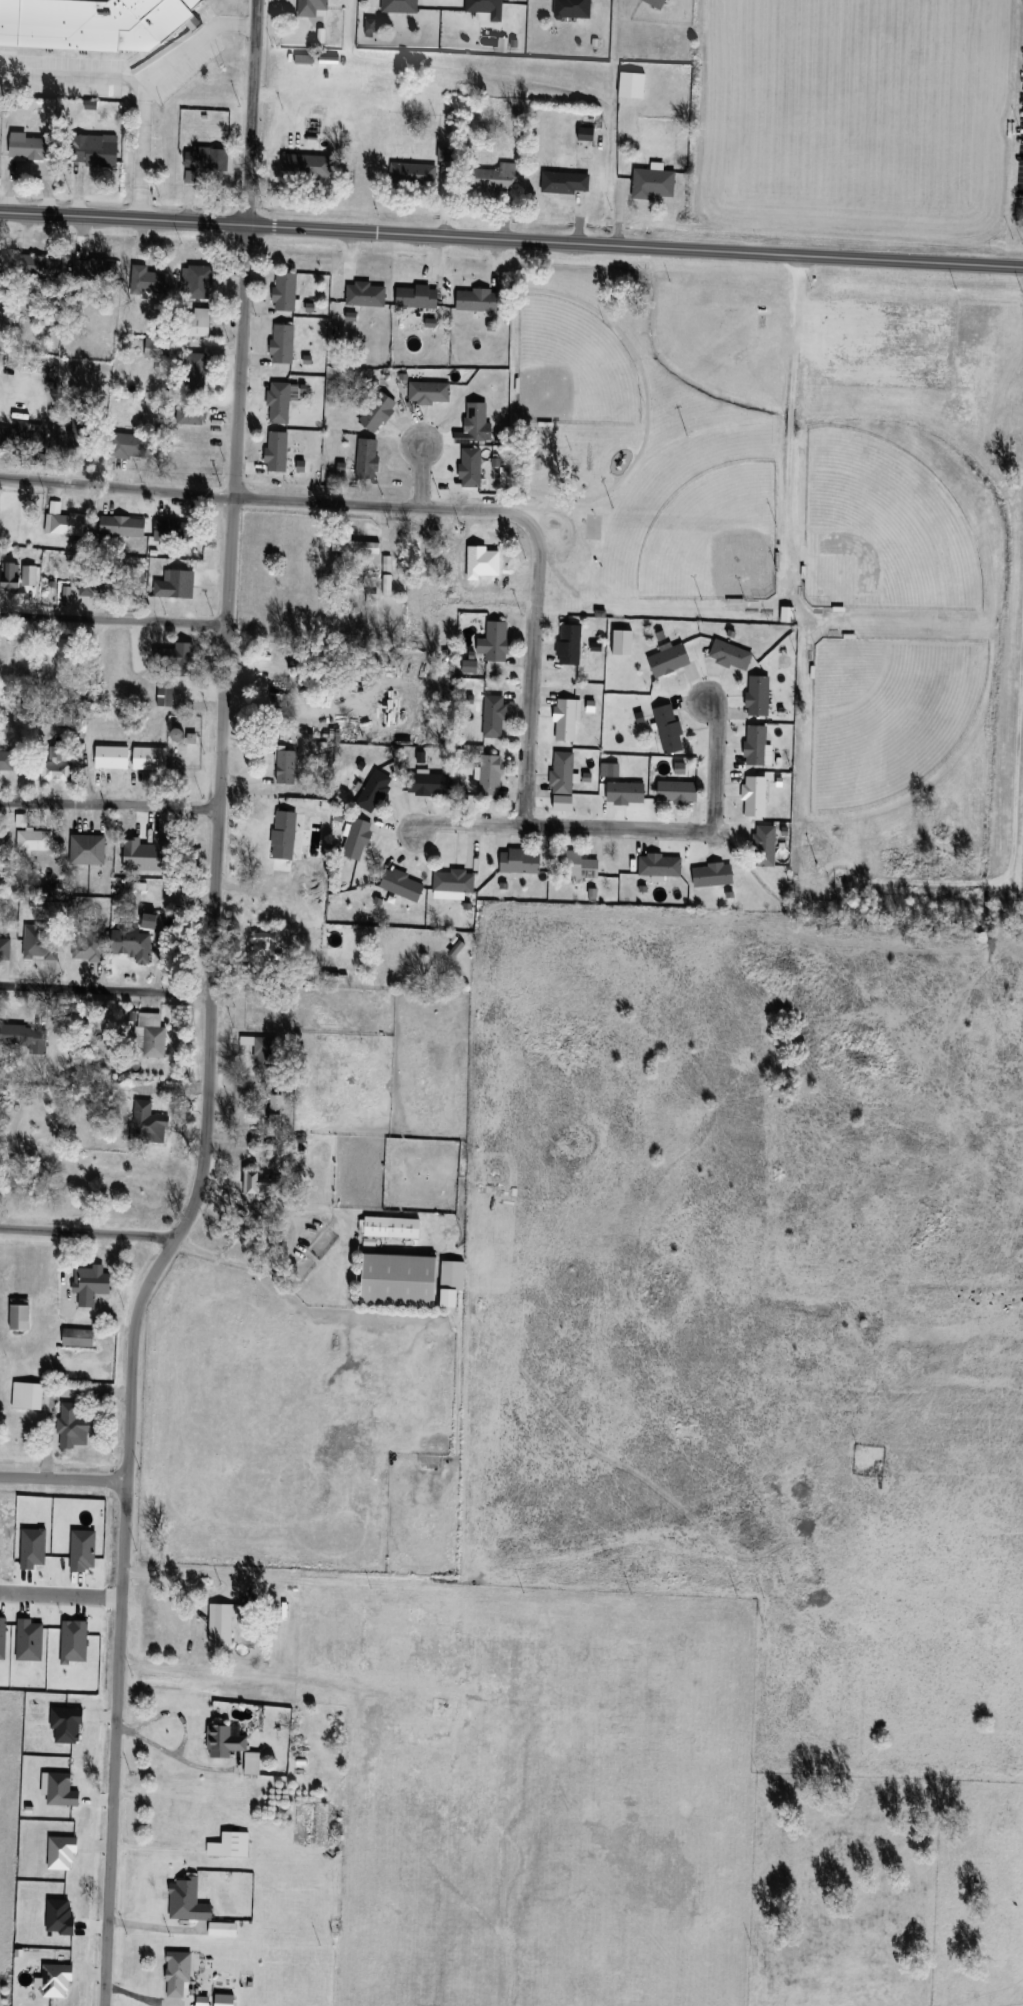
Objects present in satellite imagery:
building: (657, 3)
building: (401, 6)
building: (314, 8)
building: (487, 8)
building: (573, 8)
building: (102, 22)
road: (136, 80)
road: (252, 112)
building: (0, 146)
building: (29, 146)
building: (98, 150)
road: (141, 150)
building: (208, 158)
building: (307, 165)
building: (413, 174)
building: (496, 178)
building: (565, 181)
building: (655, 183)
road: (123, 219)
road: (524, 239)
road: (911, 260)
building: (41, 266)
building: (96, 270)
building: (149, 280)
building: (201, 282)
building: (286, 291)
building: (367, 294)
building: (418, 296)
building: (478, 299)
road: (605, 317)
building: (200, 322)
building: (284, 344)
park: (571, 367)
building: (197, 371)
building: (430, 392)
building: (280, 402)
road: (794, 404)
building: (378, 411)
building: (191, 415)
building: (477, 421)
park: (653, 433)
building: (77, 435)
building: (22, 437)
building: (131, 446)
building: (277, 451)
building: (369, 458)
building: (472, 467)
road: (421, 475)
road: (266, 499)
park: (697, 519)
building: (68, 524)
building: (123, 526)
park: (592, 526)
building: (173, 531)
building: (356, 547)
building: (11, 576)
building: (96, 582)
building: (176, 584)
road: (113, 620)
building: (498, 640)
building: (623, 641)
building: (570, 644)
building: (68, 649)
building: (159, 650)
building: (732, 654)
building: (3, 655)
building: (671, 659)
road: (530, 672)
building: (283, 683)
building: (92, 693)
building: (759, 695)
building: (165, 696)
building: (495, 716)
building: (845, 716)
building: (67, 717)
building: (567, 719)
building: (670, 728)
building: (184, 734)
road: (221, 735)
building: (757, 744)
building: (113, 756)
building: (151, 757)
building: (7, 759)
building: (59, 766)
building: (287, 766)
building: (563, 772)
building: (491, 774)
building: (429, 783)
building: (375, 790)
building: (679, 791)
building: (627, 792)
building: (755, 795)
road: (109, 804)
road: (465, 821)
building: (284, 829)
road: (681, 829)
building: (358, 838)
building: (34, 839)
building: (88, 845)
building: (143, 845)
building: (766, 845)
building: (522, 860)
building: (580, 864)
building: (661, 865)
road: (1015, 865)
building: (714, 874)
building: (455, 880)
building: (404, 884)
building: (135, 944)
building: (266, 944)
road: (105, 989)
building: (152, 1035)
building: (24, 1037)
building: (263, 1051)
building: (275, 1104)
building: (382, 1112)
building: (148, 1123)
building: (262, 1185)
building: (390, 1227)
road: (87, 1232)
building: (400, 1279)
building: (91, 1284)
building: (451, 1297)
building: (20, 1314)
building: (80, 1337)
road: (132, 1356)
building: (28, 1395)
building: (74, 1426)
road: (63, 1479)
road: (190, 1591)
road: (60, 1594)
road: (120, 1609)
building: (228, 1621)
road: (238, 1672)
building: (395, 1709)
building: (226, 1740)
building: (230, 1845)
road: (109, 1872)
building: (188, 1900)
building: (178, 1974)

